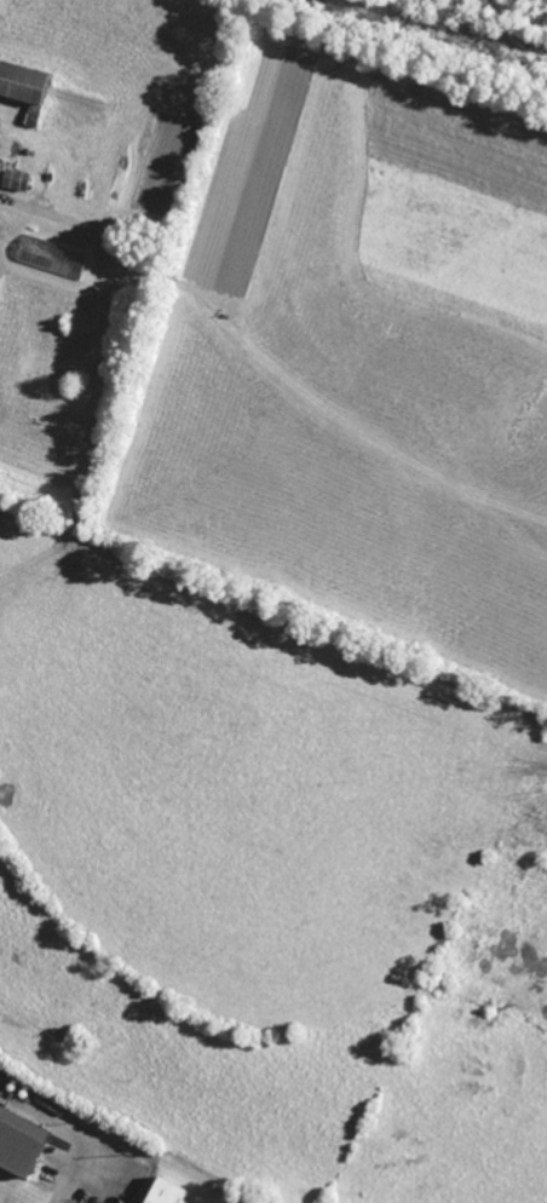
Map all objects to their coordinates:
building: (25, 87)
building: (16, 179)
road: (42, 211)
building: (52, 255)
building: (21, 1141)
building: (173, 1193)

